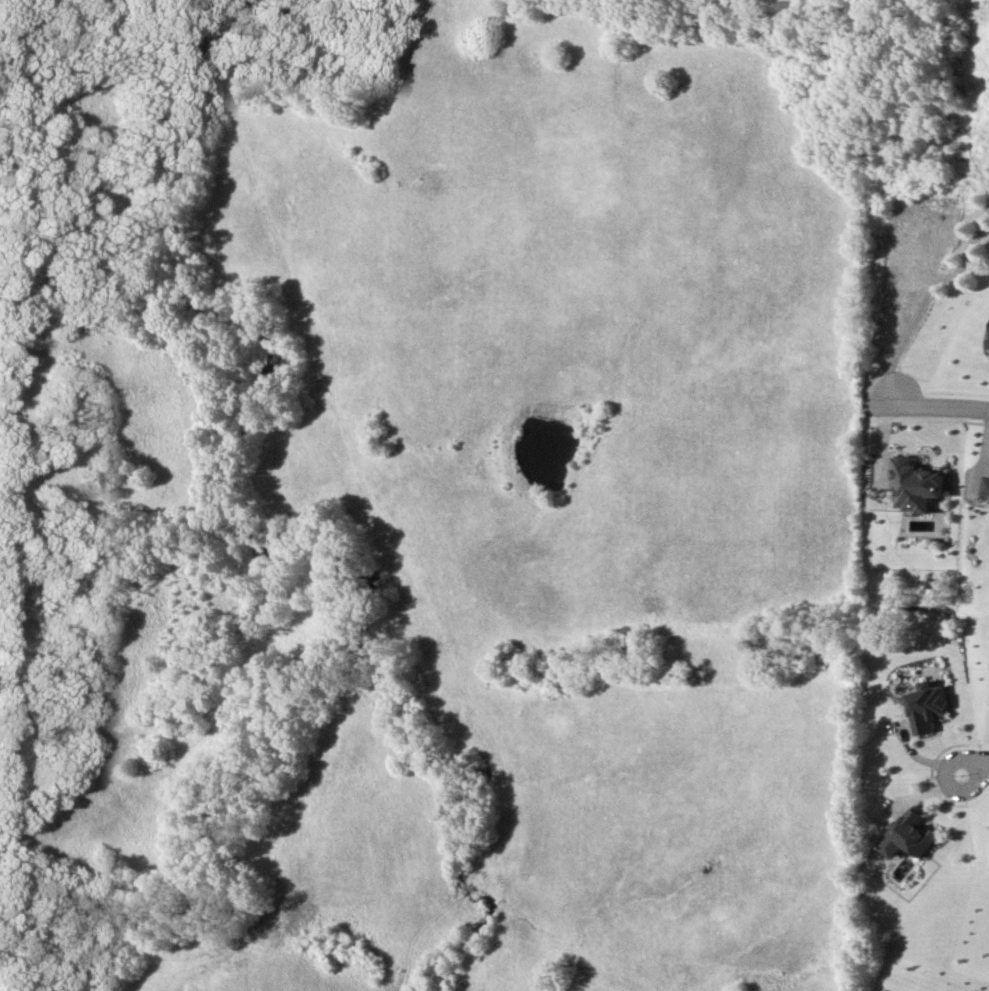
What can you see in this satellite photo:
road: (977, 271)
road: (929, 297)
building: (988, 345)
road: (941, 408)
building: (916, 484)
building: (986, 485)
building: (928, 706)
road: (975, 765)
building: (911, 835)

